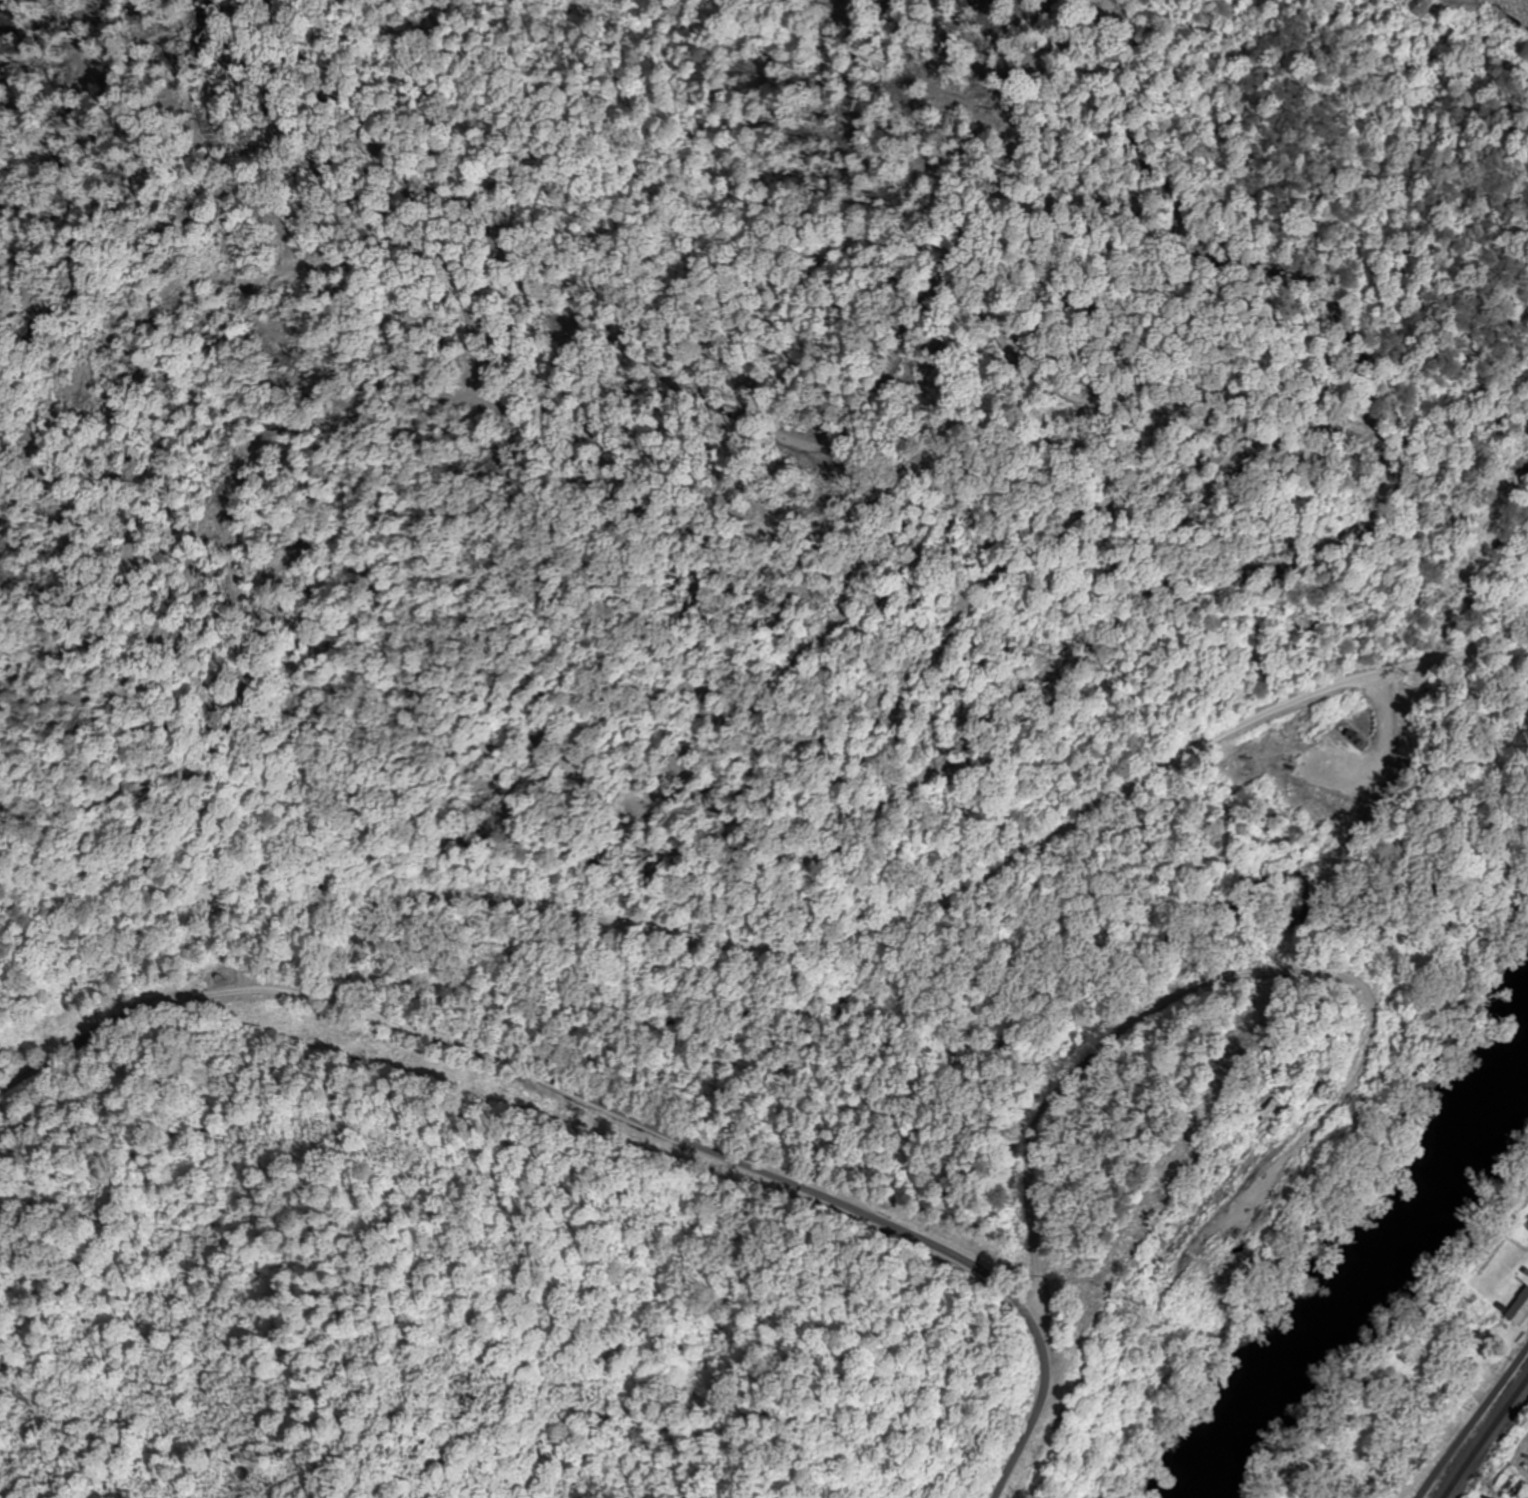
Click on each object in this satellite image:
road: (908, 917)
road: (193, 1044)
road: (539, 1075)
road: (951, 1255)
river: (1397, 1286)
building: (1519, 1307)
road: (1473, 1422)
railway: (1486, 1435)
building: (1504, 1483)

